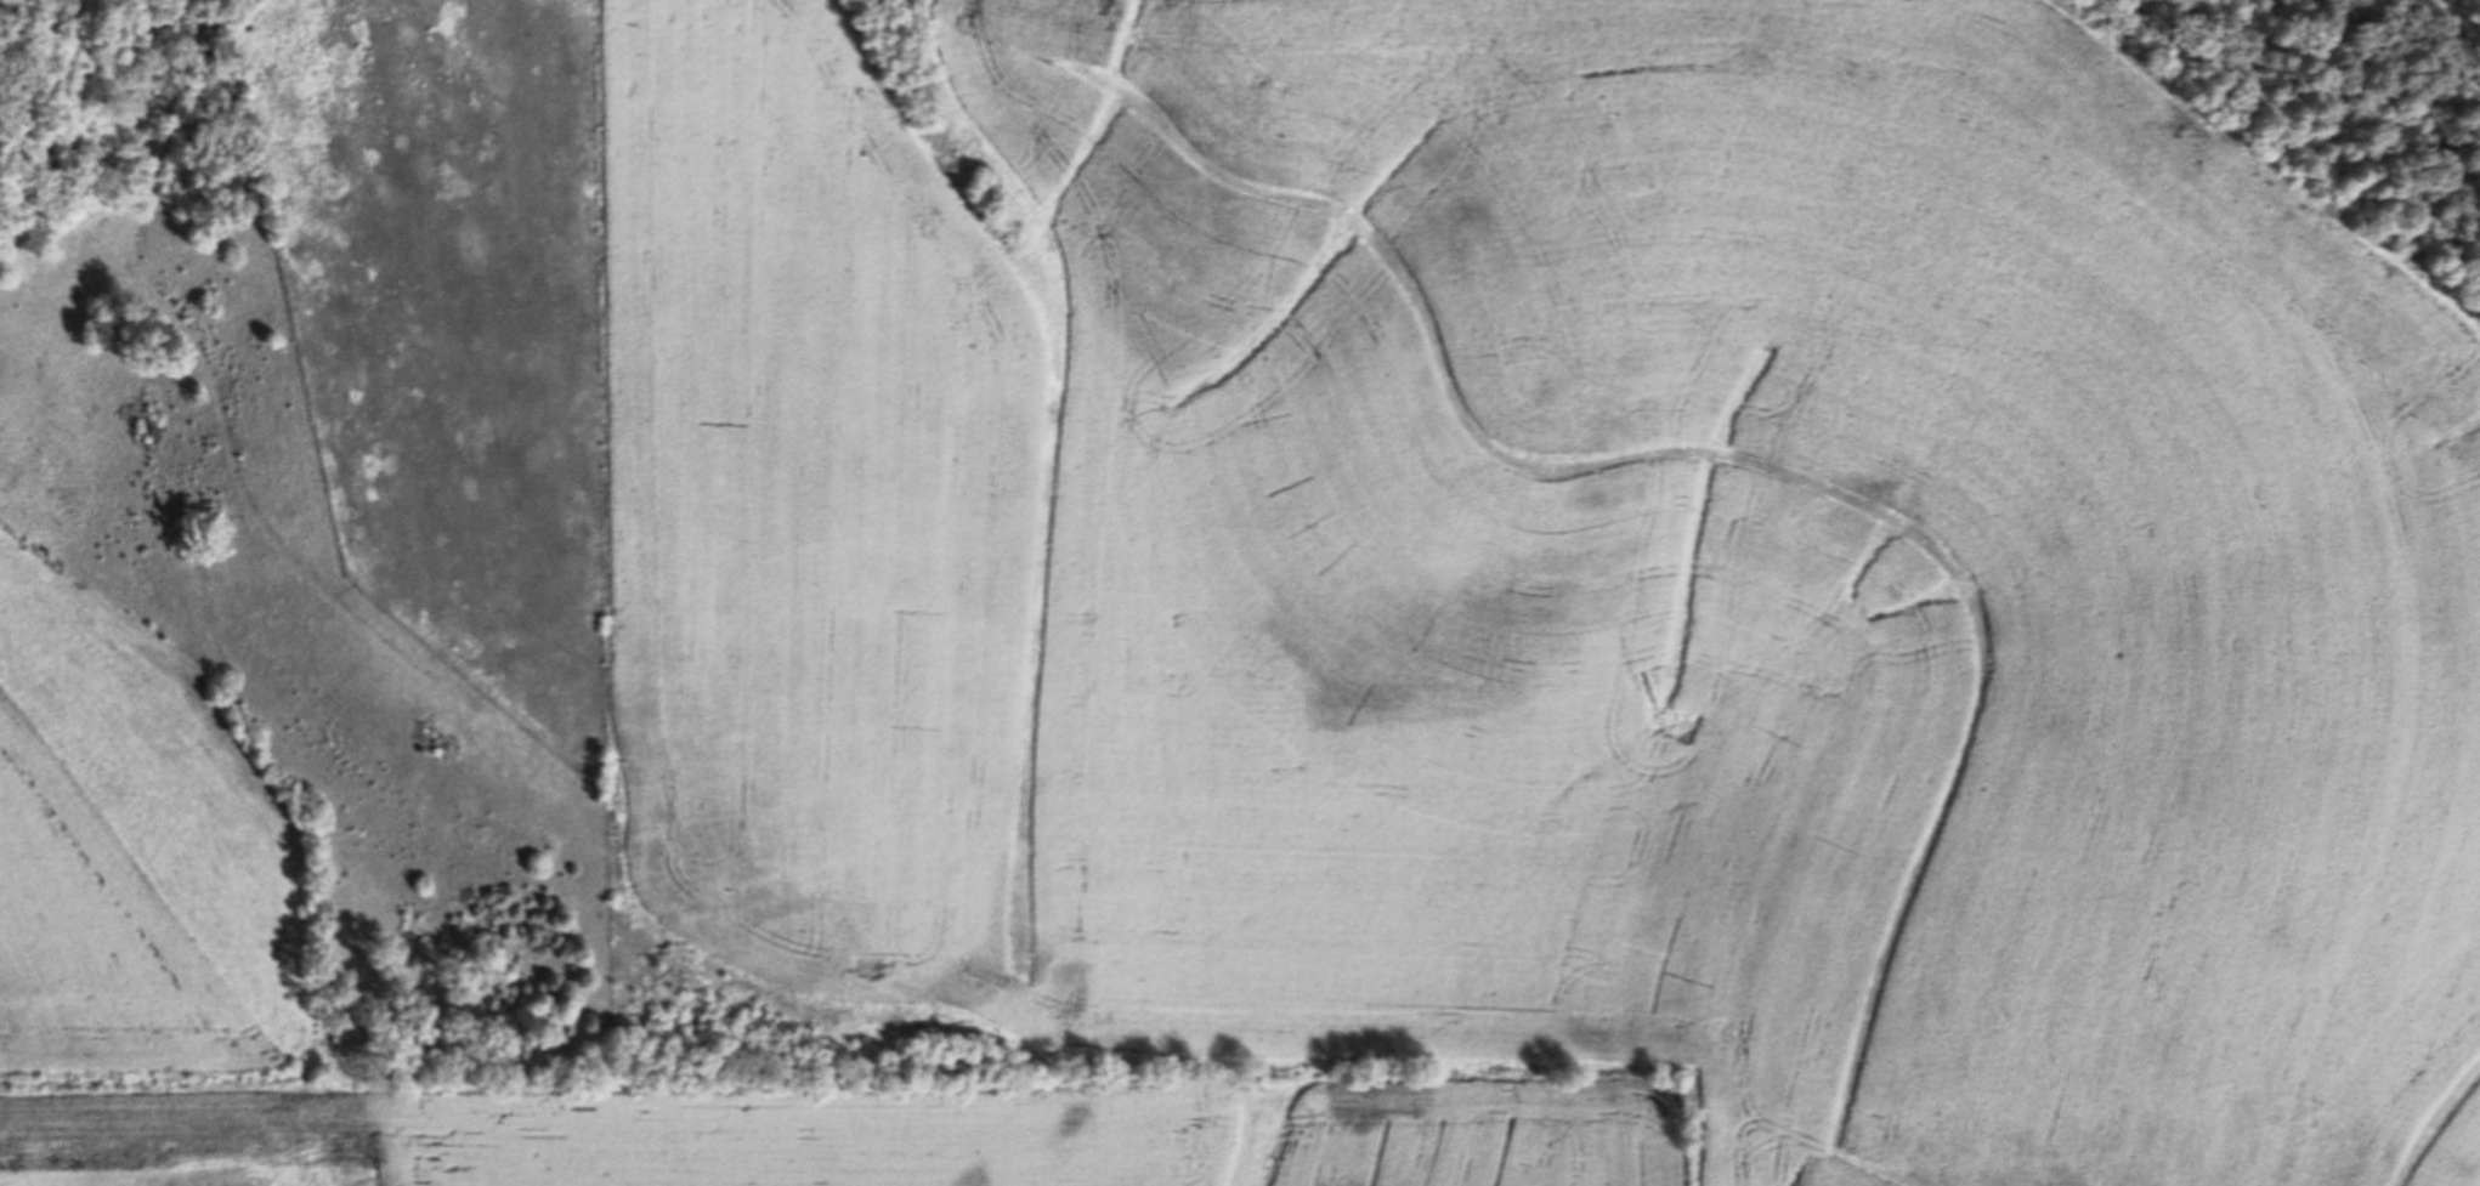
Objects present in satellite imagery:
road: (2448, 36)

